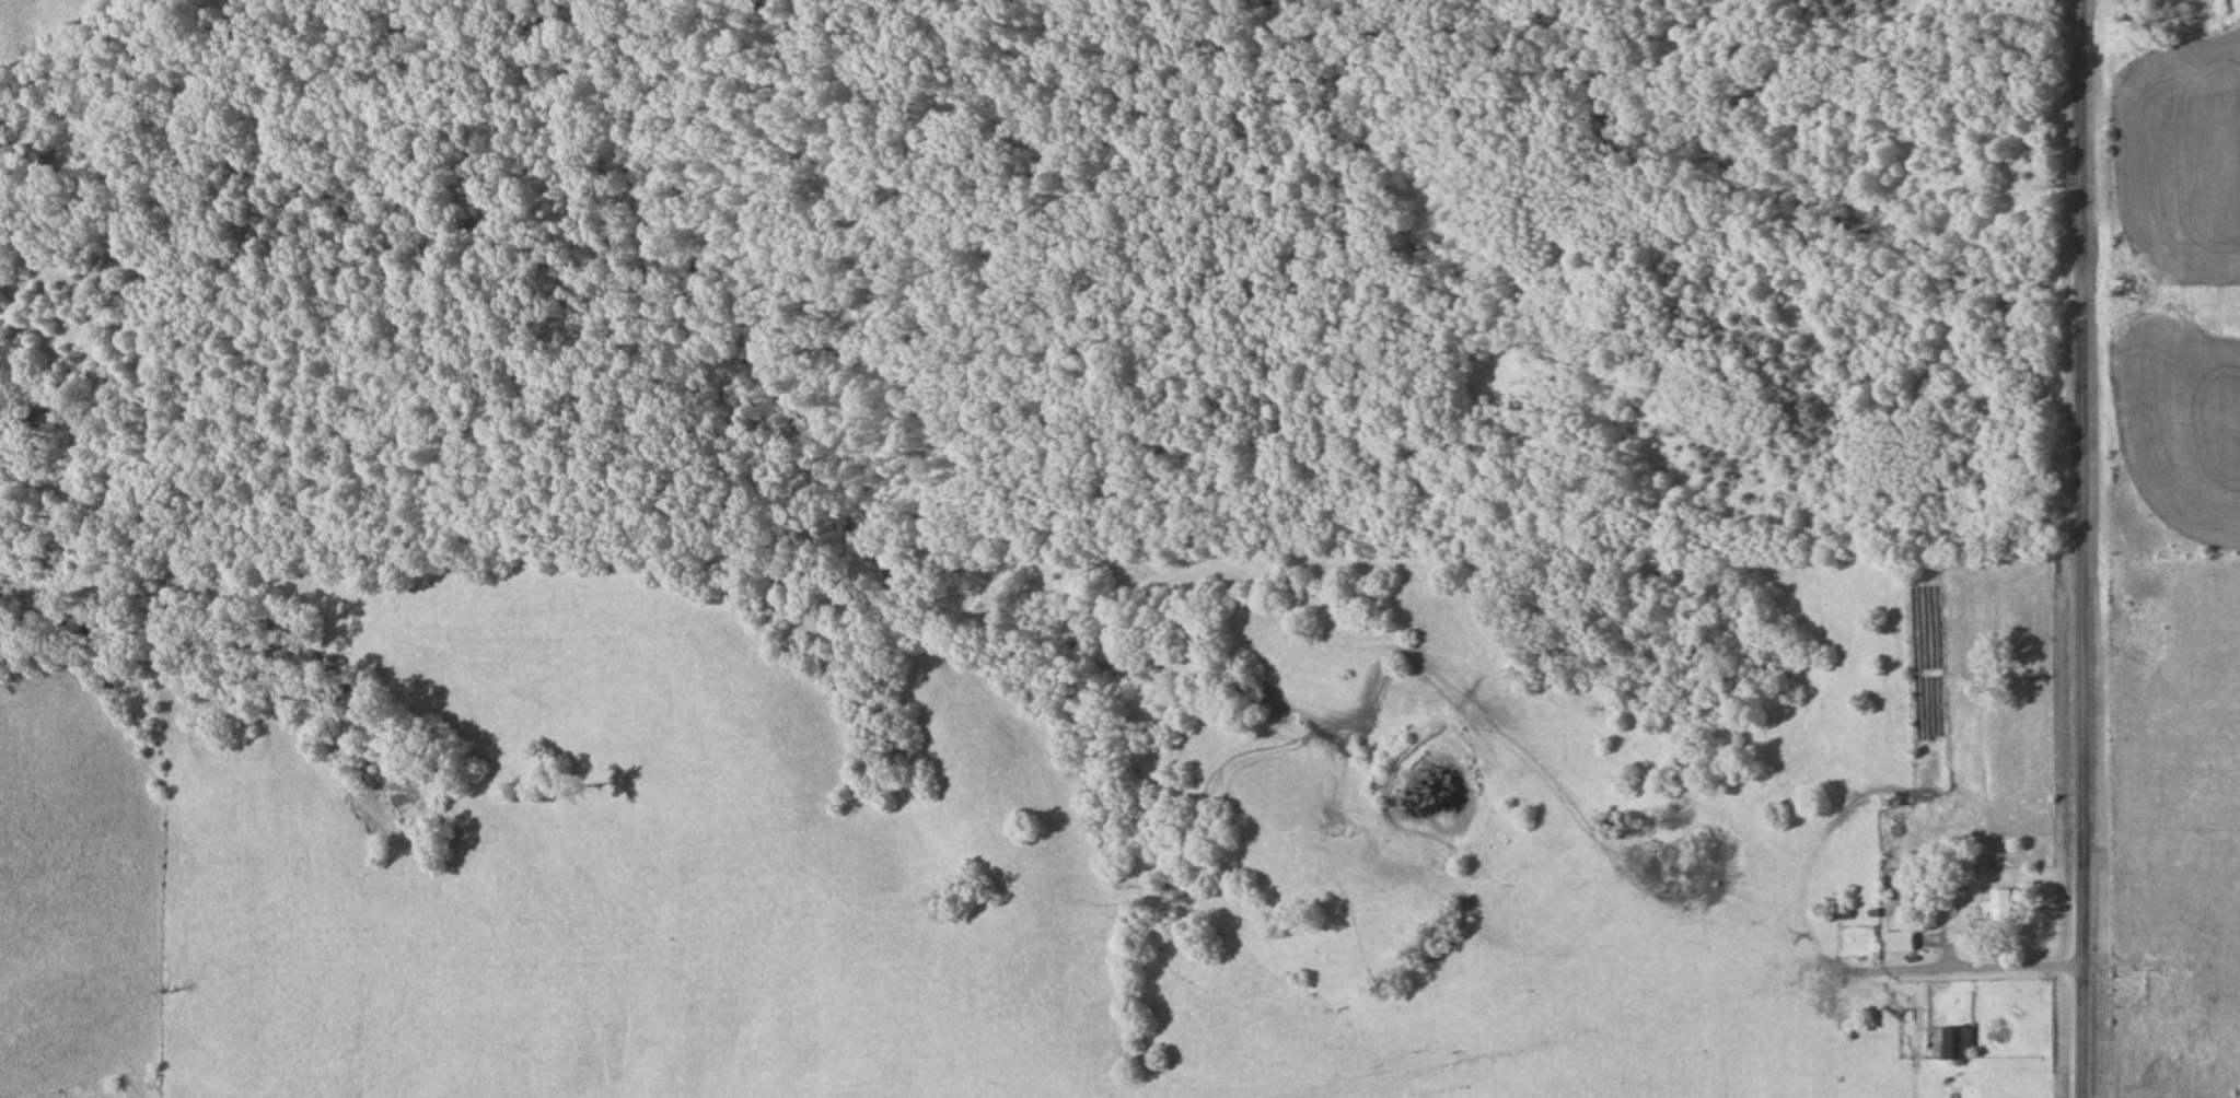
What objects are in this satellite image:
road: (2078, 549)
building: (1999, 906)
building: (1899, 942)
building: (1949, 1044)

